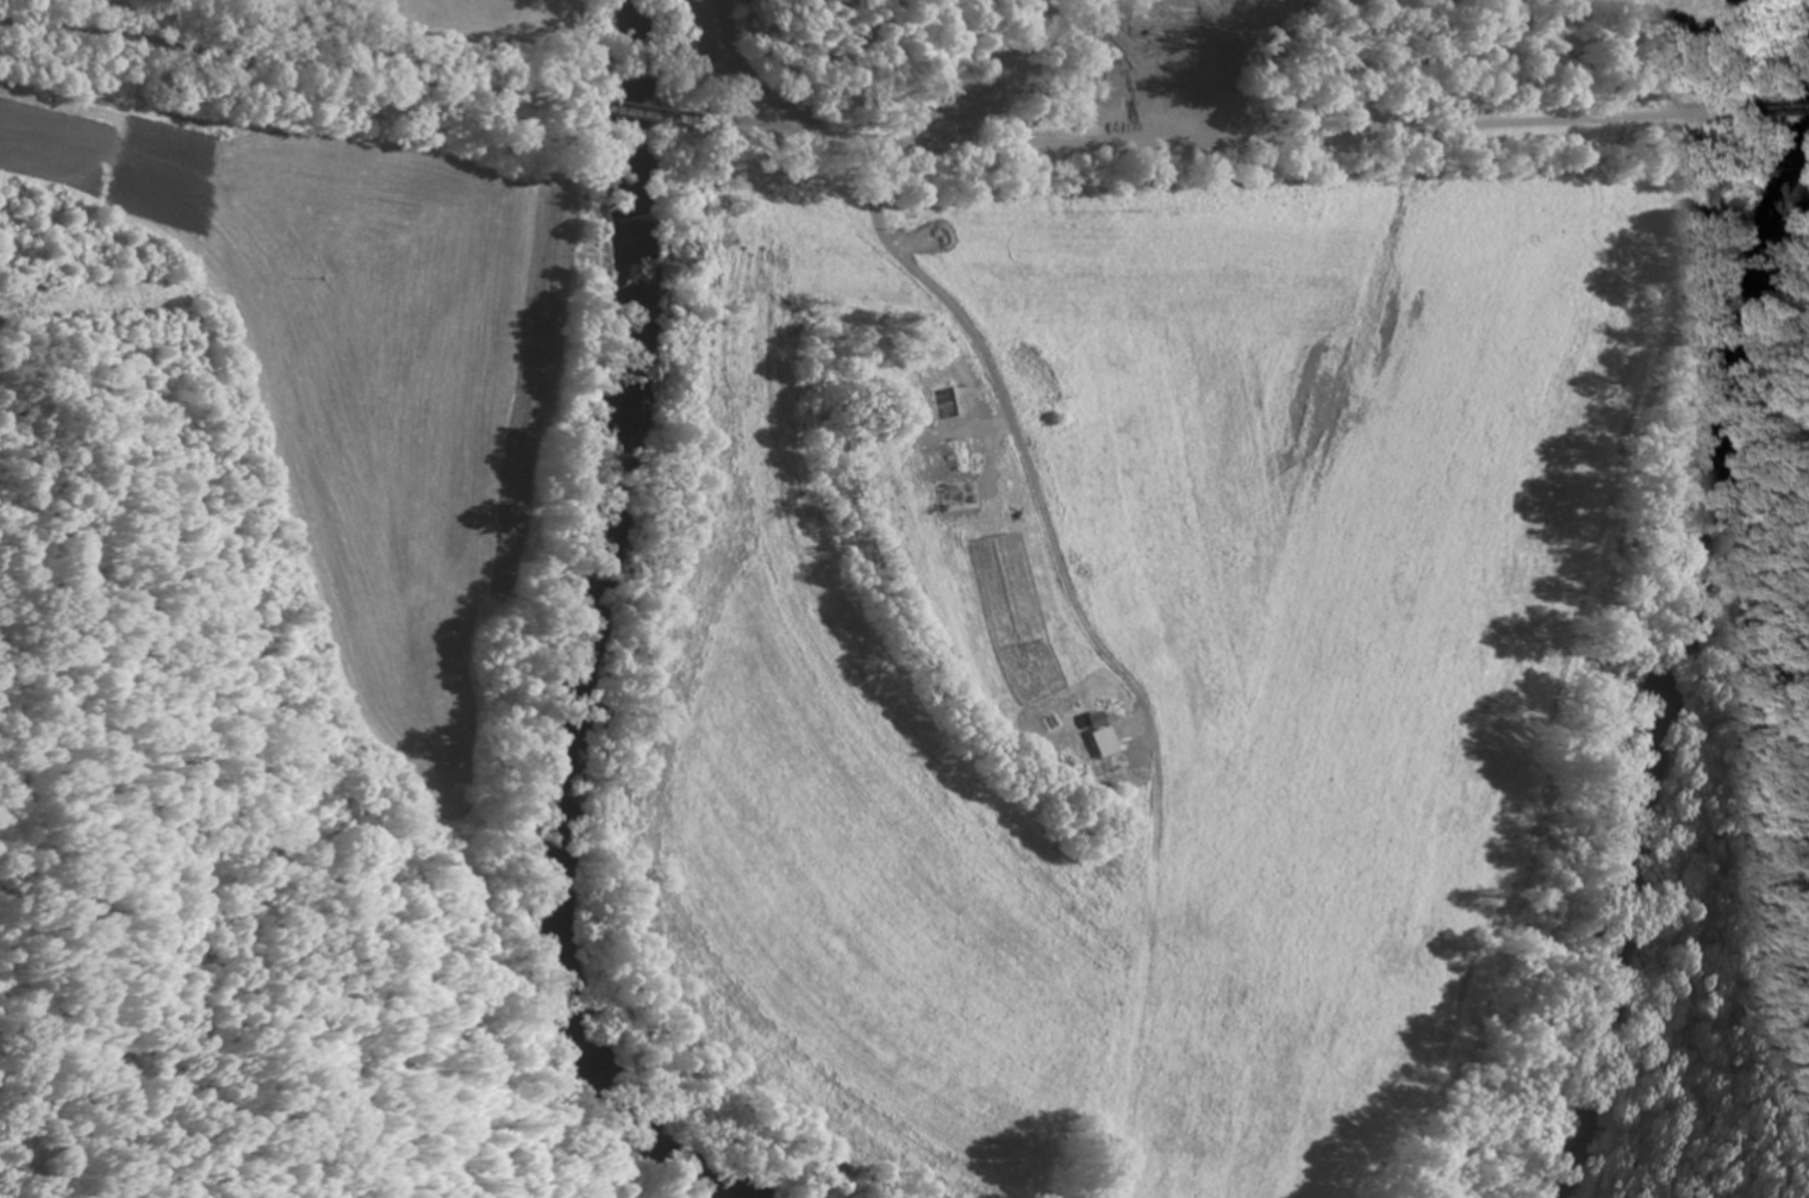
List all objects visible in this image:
road: (300, 64)
road: (1778, 105)
road: (637, 114)
road: (1210, 138)
river: (578, 618)
river: (1652, 656)

